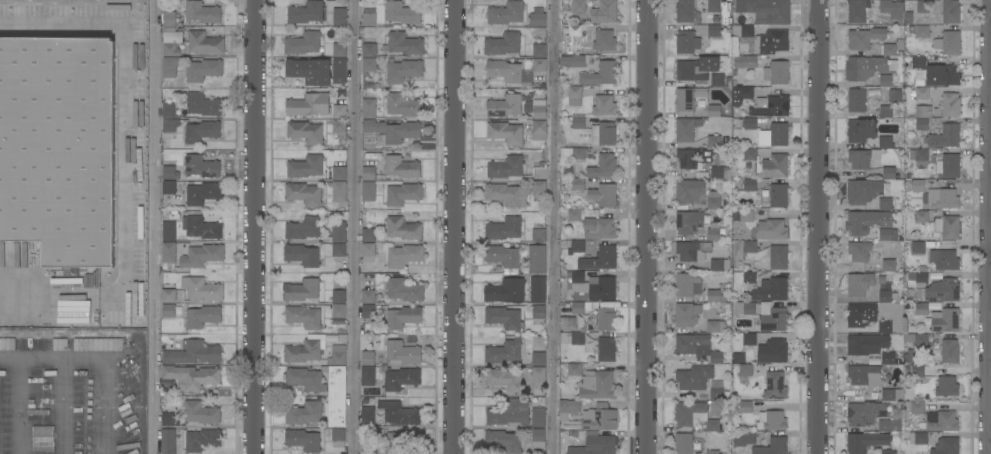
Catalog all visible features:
building: (579, 6)
building: (713, 6)
building: (885, 6)
building: (922, 6)
building: (900, 8)
building: (766, 10)
building: (684, 11)
building: (856, 11)
building: (202, 12)
building: (305, 12)
building: (604, 12)
building: (950, 12)
building: (402, 13)
building: (505, 13)
road: (63, 17)
building: (339, 17)
building: (368, 17)
building: (169, 18)
building: (537, 19)
building: (908, 19)
building: (574, 30)
building: (713, 31)
building: (743, 31)
building: (921, 32)
building: (172, 37)
building: (864, 38)
building: (601, 40)
building: (687, 42)
building: (771, 42)
building: (204, 43)
building: (303, 43)
building: (949, 43)
building: (404, 44)
building: (502, 44)
building: (170, 49)
building: (339, 50)
building: (368, 50)
building: (888, 50)
building: (539, 51)
building: (572, 61)
building: (744, 62)
building: (918, 63)
building: (368, 65)
building: (539, 65)
building: (169, 67)
building: (865, 67)
building: (696, 68)
building: (203, 70)
building: (318, 71)
building: (402, 71)
building: (504, 71)
building: (776, 72)
building: (600, 74)
building: (938, 75)
building: (717, 80)
building: (885, 81)
building: (920, 93)
building: (574, 95)
building: (741, 95)
building: (894, 96)
building: (688, 98)
building: (856, 100)
building: (203, 105)
building: (308, 105)
building: (403, 105)
building: (504, 105)
building: (603, 105)
building: (950, 105)
building: (770, 106)
building: (368, 108)
building: (539, 109)
building: (168, 111)
building: (338, 111)
building: (713, 111)
building: (885, 112)
building: (922, 117)
building: (578, 123)
building: (749, 124)
building: (338, 126)
building: (192, 129)
building: (392, 130)
building: (860, 130)
building: (538, 131)
building: (684, 131)
building: (305, 132)
building: (505, 133)
building: (603, 134)
building: (778, 134)
building: (945, 137)
building: (713, 142)
building: (885, 143)
building: (58, 148)
building: (577, 154)
building: (749, 154)
building: (921, 154)
building: (706, 157)
building: (687, 158)
building: (862, 158)
building: (201, 166)
building: (603, 166)
building: (773, 166)
building: (948, 166)
building: (305, 167)
building: (401, 167)
building: (505, 167)
building: (169, 173)
building: (338, 173)
building: (368, 173)
building: (718, 173)
building: (888, 173)
building: (577, 184)
building: (749, 185)
building: (917, 186)
building: (168, 187)
building: (538, 188)
building: (338, 191)
building: (688, 191)
building: (863, 191)
building: (368, 192)
building: (202, 194)
building: (303, 194)
building: (402, 194)
building: (507, 195)
building: (603, 195)
building: (778, 196)
building: (942, 199)
building: (713, 204)
building: (884, 204)
building: (746, 216)
building: (921, 217)
building: (866, 222)
building: (592, 223)
building: (688, 223)
road: (155, 227)
road: (251, 227)
road: (355, 227)
road: (456, 227)
road: (554, 227)
road: (644, 227)
road: (815, 227)
building: (947, 227)
road: (987, 227)
building: (200, 228)
building: (303, 228)
building: (402, 228)
building: (503, 229)
building: (770, 230)
building: (168, 231)
building: (338, 231)
building: (368, 235)
building: (713, 235)
building: (883, 235)
building: (538, 236)
building: (576, 246)
building: (749, 247)
building: (917, 248)
building: (338, 249)
building: (367, 250)
building: (692, 251)
building: (858, 252)
building: (875, 254)
building: (301, 255)
building: (190, 256)
building: (404, 256)
building: (502, 256)
building: (778, 258)
building: (536, 259)
building: (599, 259)
building: (944, 260)
building: (716, 265)
building: (887, 265)
building: (749, 277)
building: (918, 277)
road: (66, 278)
building: (858, 284)
building: (687, 285)
building: (590, 287)
building: (201, 289)
building: (300, 290)
building: (404, 290)
building: (501, 290)
building: (770, 290)
building: (939, 291)
building: (168, 296)
building: (338, 296)
building: (367, 296)
building: (714, 296)
building: (538, 297)
building: (884, 297)
building: (577, 307)
building: (743, 308)
building: (921, 309)
building: (167, 311)
building: (338, 311)
building: (368, 312)
building: (538, 312)
building: (686, 315)
building: (855, 316)
building: (202, 317)
building: (303, 317)
building: (402, 317)
building: (503, 318)
building: (772, 318)
building: (604, 319)
building: (944, 321)
building: (567, 323)
building: (715, 327)
building: (884, 327)
building: (576, 338)
building: (749, 339)
building: (916, 339)
building: (7, 344)
building: (33, 344)
building: (97, 344)
building: (60, 345)
building: (696, 347)
building: (870, 348)
building: (605, 349)
building: (504, 351)
building: (777, 351)
building: (949, 351)
building: (303, 352)
building: (402, 352)
building: (192, 353)
building: (336, 355)
building: (908, 357)
building: (367, 358)
building: (537, 358)
building: (745, 370)
building: (573, 371)
building: (917, 371)
building: (864, 375)
building: (367, 376)
building: (191, 377)
building: (538, 377)
building: (694, 377)
building: (305, 379)
building: (400, 379)
building: (504, 379)
building: (596, 385)
building: (774, 386)
building: (946, 387)
building: (336, 395)
building: (716, 395)
building: (891, 395)
building: (745, 407)
building: (917, 408)
building: (568, 409)
building: (200, 413)
building: (304, 413)
building: (509, 413)
building: (864, 413)
building: (389, 414)
building: (38, 415)
building: (694, 416)
building: (537, 417)
building: (599, 418)
building: (168, 419)
building: (771, 421)
building: (127, 422)
building: (944, 422)
building: (888, 426)
building: (337, 434)
building: (43, 438)
building: (537, 438)
building: (743, 439)
building: (202, 440)
building: (302, 440)
building: (401, 440)
building: (503, 440)
building: (167, 441)
building: (865, 442)
building: (918, 442)
building: (683, 443)
building: (594, 445)
building: (949, 445)
building: (772, 446)
building: (129, 447)
building: (713, 452)
building: (887, 452)
building: (37, 453)

